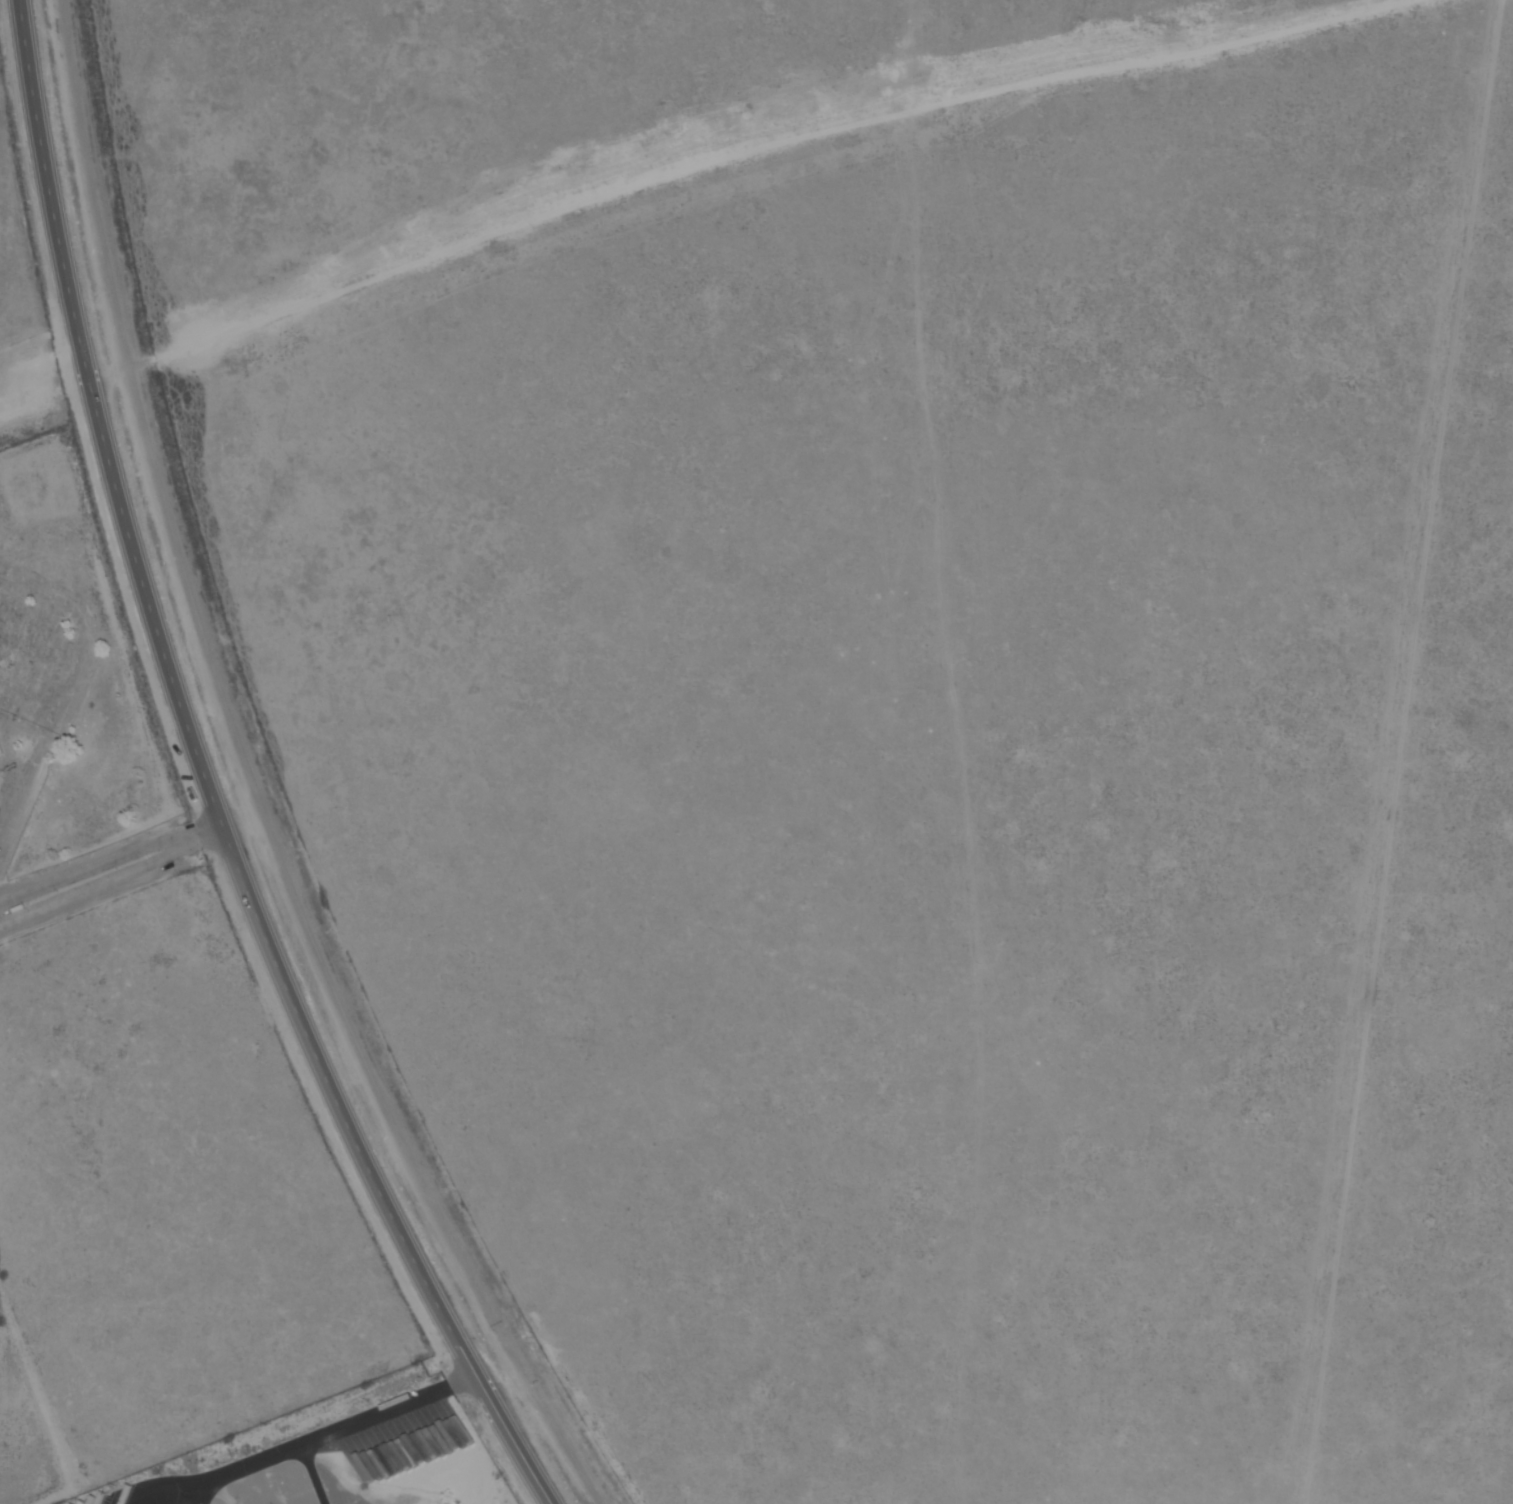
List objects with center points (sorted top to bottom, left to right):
road: (723, 151)
road: (40, 360)
road: (21, 414)
road: (185, 703)
road: (111, 868)
road: (517, 1435)
road: (310, 1436)

